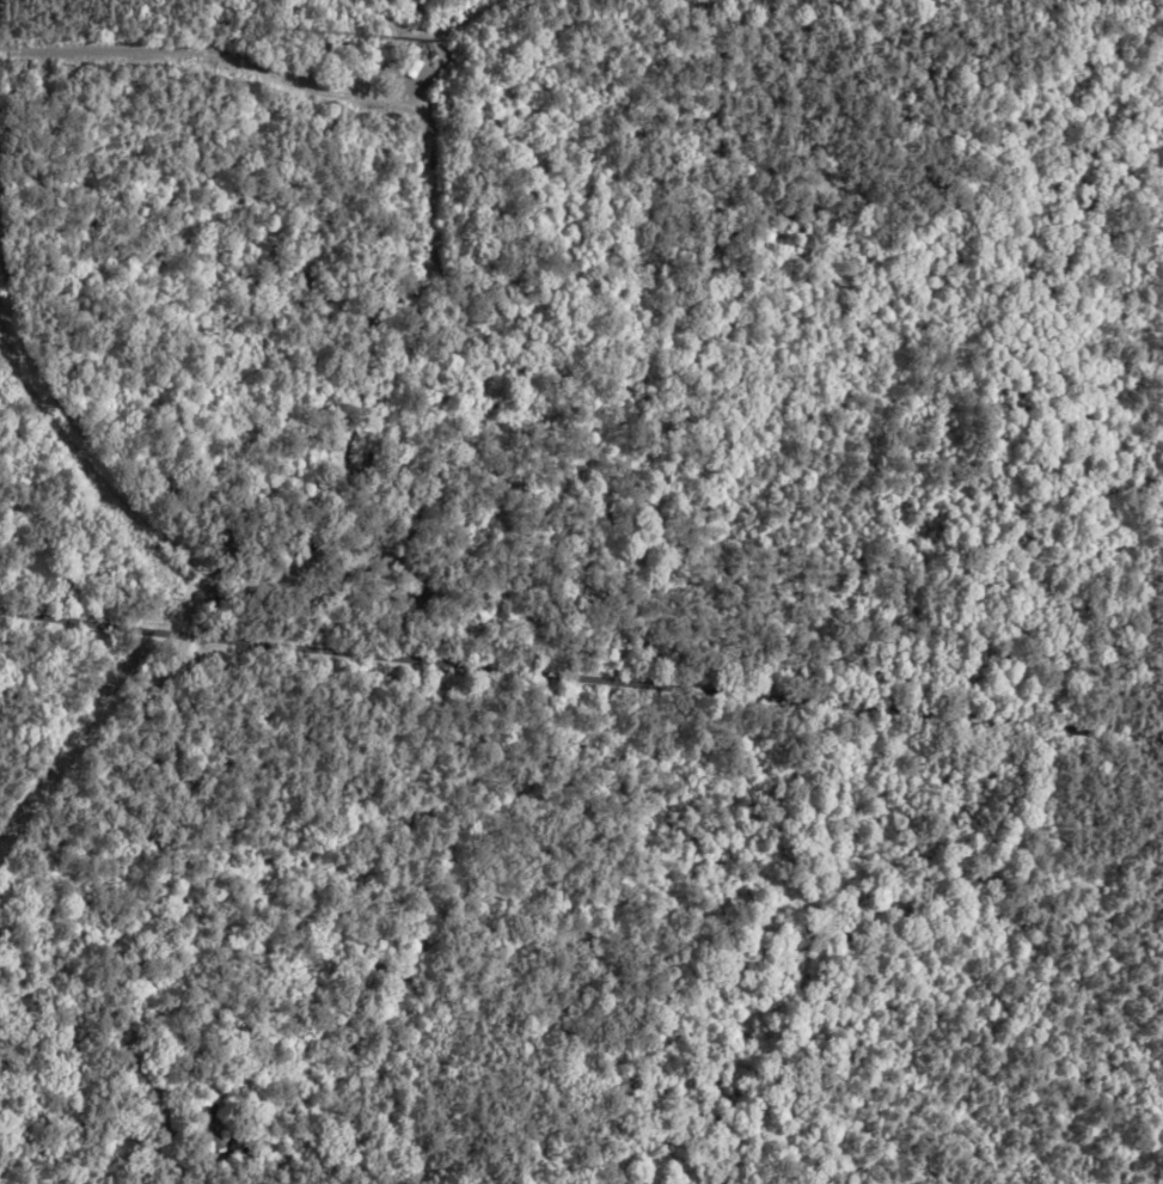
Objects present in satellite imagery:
road: (210, 50)
building: (414, 71)
road: (2, 310)
road: (197, 579)
road: (580, 679)
road: (127, 1033)

